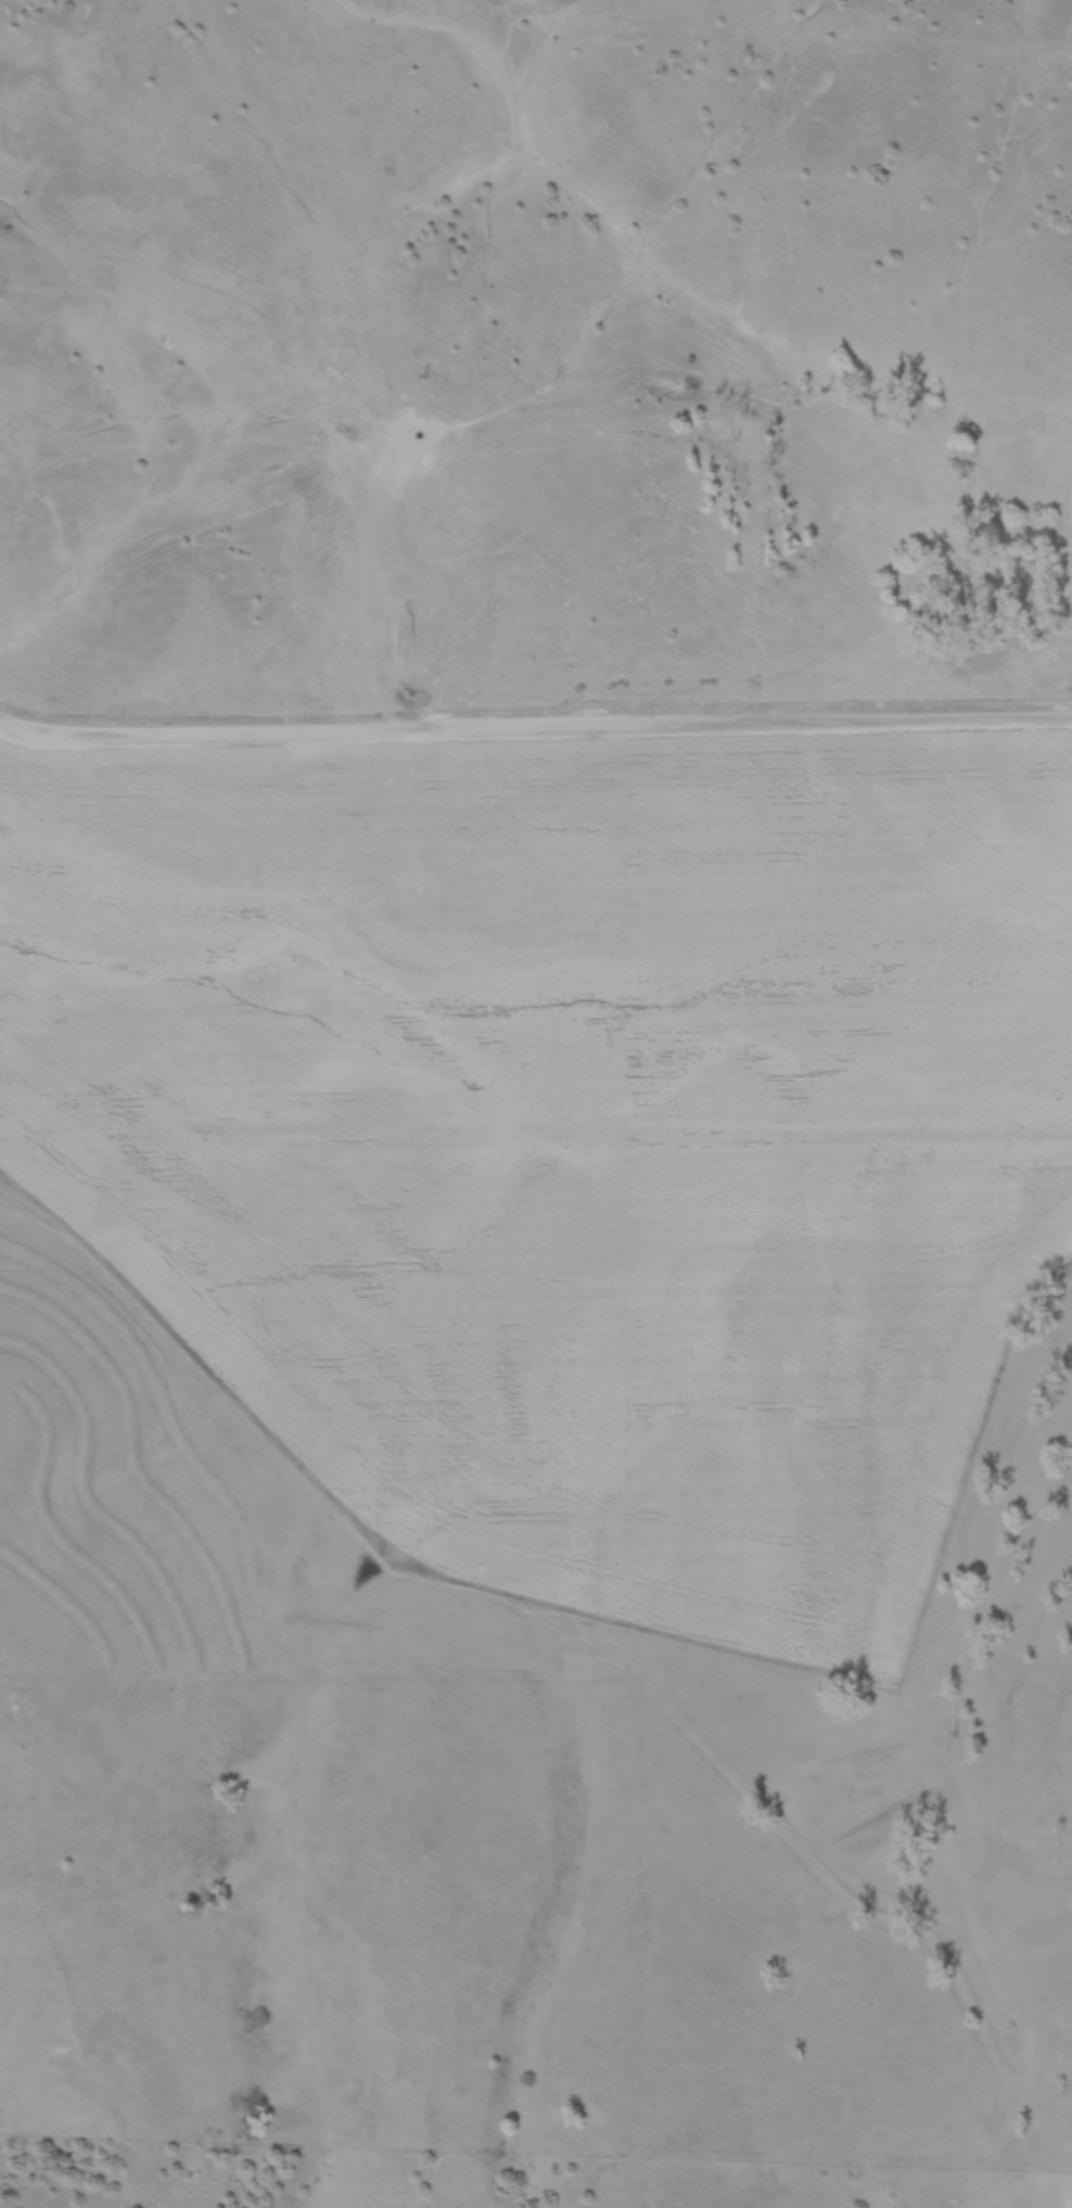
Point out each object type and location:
road: (535, 720)

